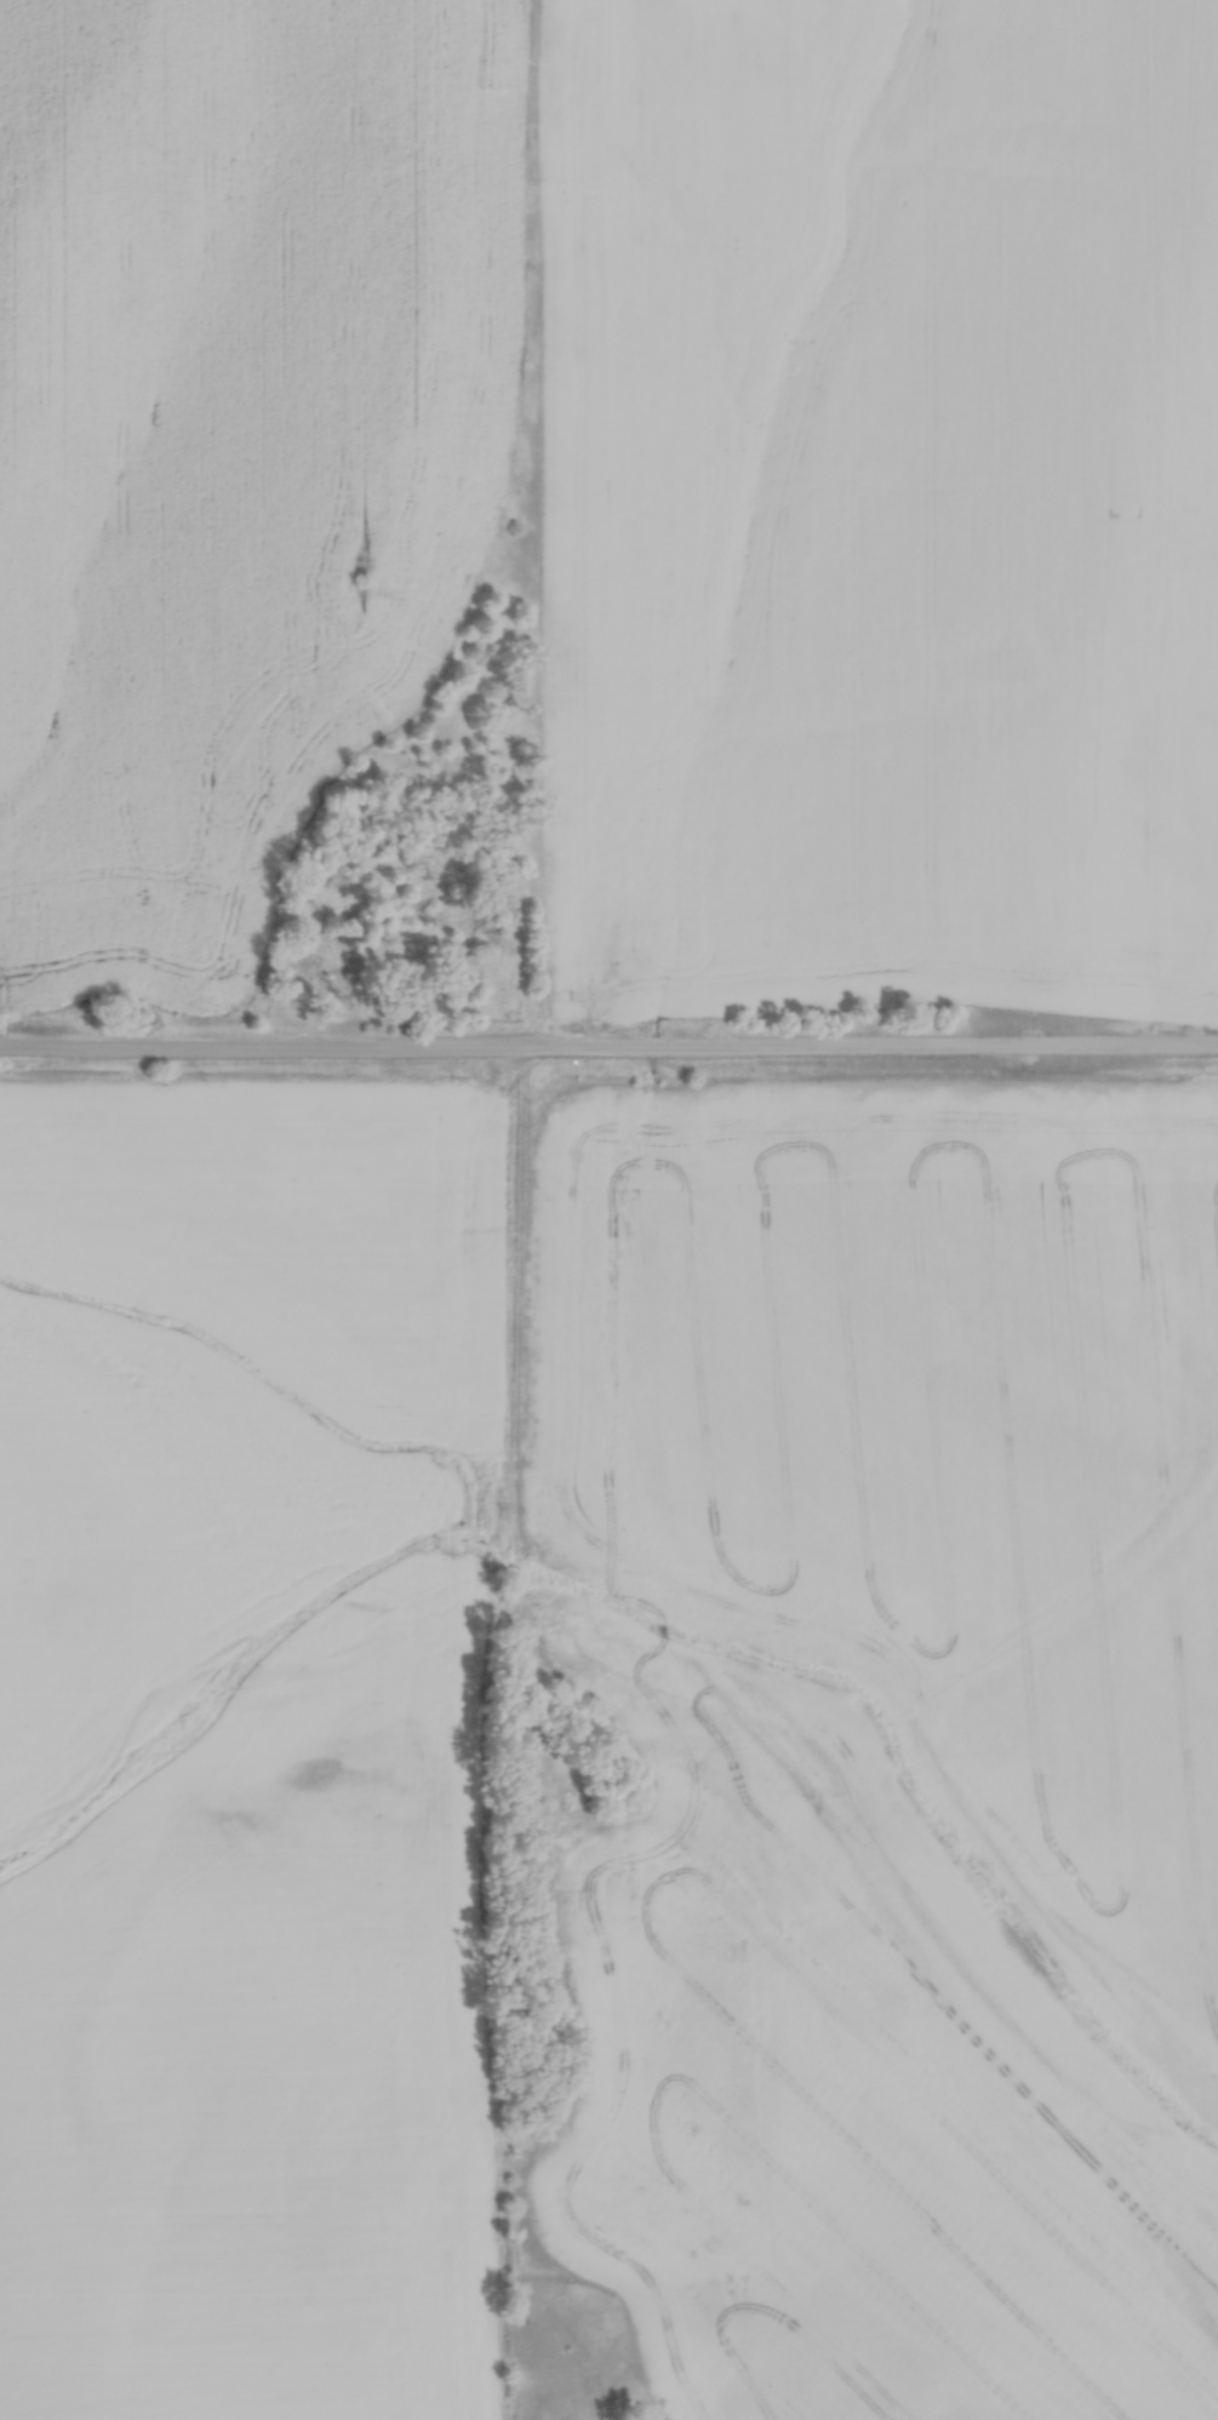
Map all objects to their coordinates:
building: (482, 938)
road: (608, 1052)
road: (519, 1428)

